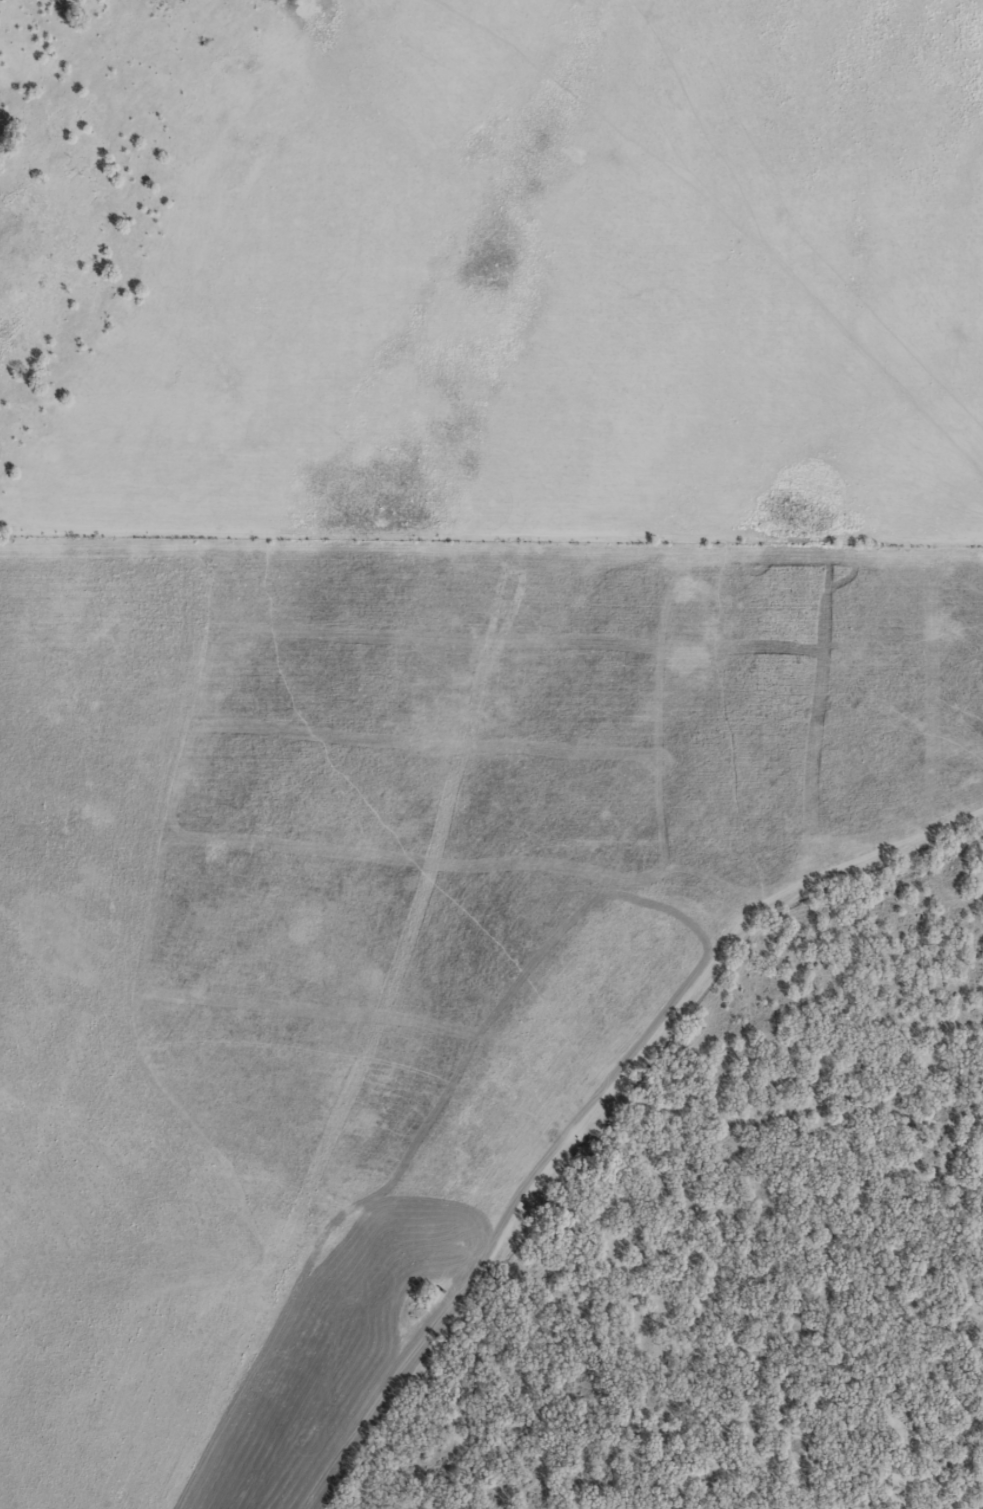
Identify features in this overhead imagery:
road: (953, 66)

